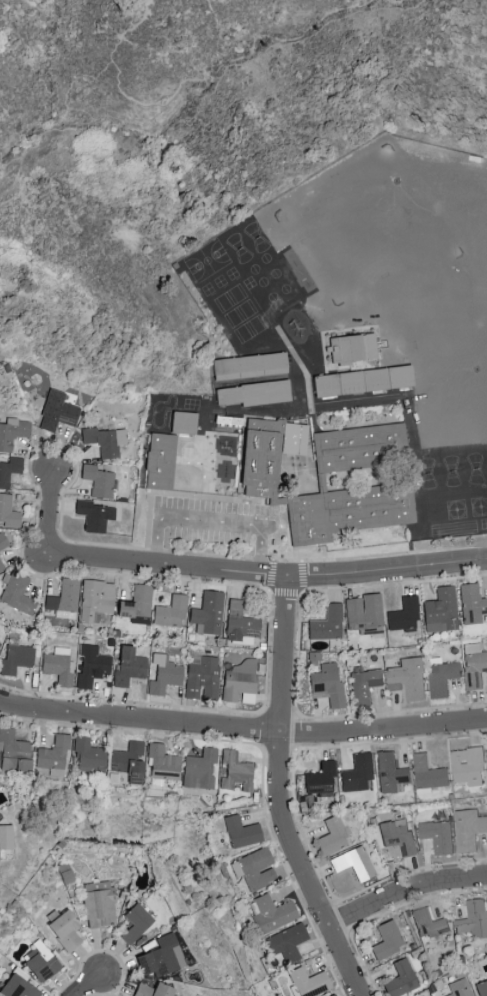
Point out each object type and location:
road: (183, 111)
road: (33, 137)
park: (194, 156)
building: (350, 348)
building: (250, 369)
building: (368, 387)
building: (255, 396)
building: (55, 411)
building: (180, 423)
building: (189, 429)
building: (12, 432)
building: (291, 439)
building: (102, 441)
building: (361, 450)
building: (261, 461)
building: (161, 464)
building: (9, 470)
building: (96, 481)
road: (63, 493)
building: (7, 512)
road: (49, 513)
building: (349, 514)
building: (92, 515)
road: (211, 521)
parking lot: (222, 523)
building: (2, 542)
road: (165, 565)
building: (1, 567)
road: (387, 570)
road: (270, 593)
building: (15, 594)
building: (63, 597)
building: (94, 600)
building: (134, 603)
building: (472, 605)
building: (169, 612)
building: (441, 613)
building: (206, 614)
building: (364, 616)
building: (404, 616)
building: (238, 624)
building: (327, 625)
building: (15, 655)
road: (297, 657)
building: (313, 662)
building: (89, 666)
building: (127, 667)
building: (475, 671)
building: (163, 675)
building: (201, 678)
building: (409, 679)
building: (442, 679)
building: (239, 683)
building: (364, 687)
building: (329, 688)
road: (243, 729)
building: (14, 754)
building: (53, 754)
building: (89, 757)
building: (129, 763)
building: (161, 765)
building: (469, 766)
building: (198, 771)
building: (390, 773)
building: (357, 774)
building: (234, 775)
building: (428, 775)
building: (320, 781)
road: (280, 794)
building: (468, 829)
building: (240, 833)
building: (5, 837)
building: (398, 837)
building: (438, 837)
building: (332, 839)
building: (354, 865)
building: (253, 870)
road: (405, 893)
building: (486, 900)
building: (99, 906)
building: (272, 916)
building: (473, 920)
building: (429, 924)
building: (135, 925)
building: (65, 931)
building: (387, 942)
building: (287, 944)
building: (162, 959)
building: (40, 970)
building: (401, 981)
building: (310, 983)
road: (90, 986)
building: (18, 988)
building: (460, 988)
building: (481, 988)
building: (153, 990)
building: (332, 995)

